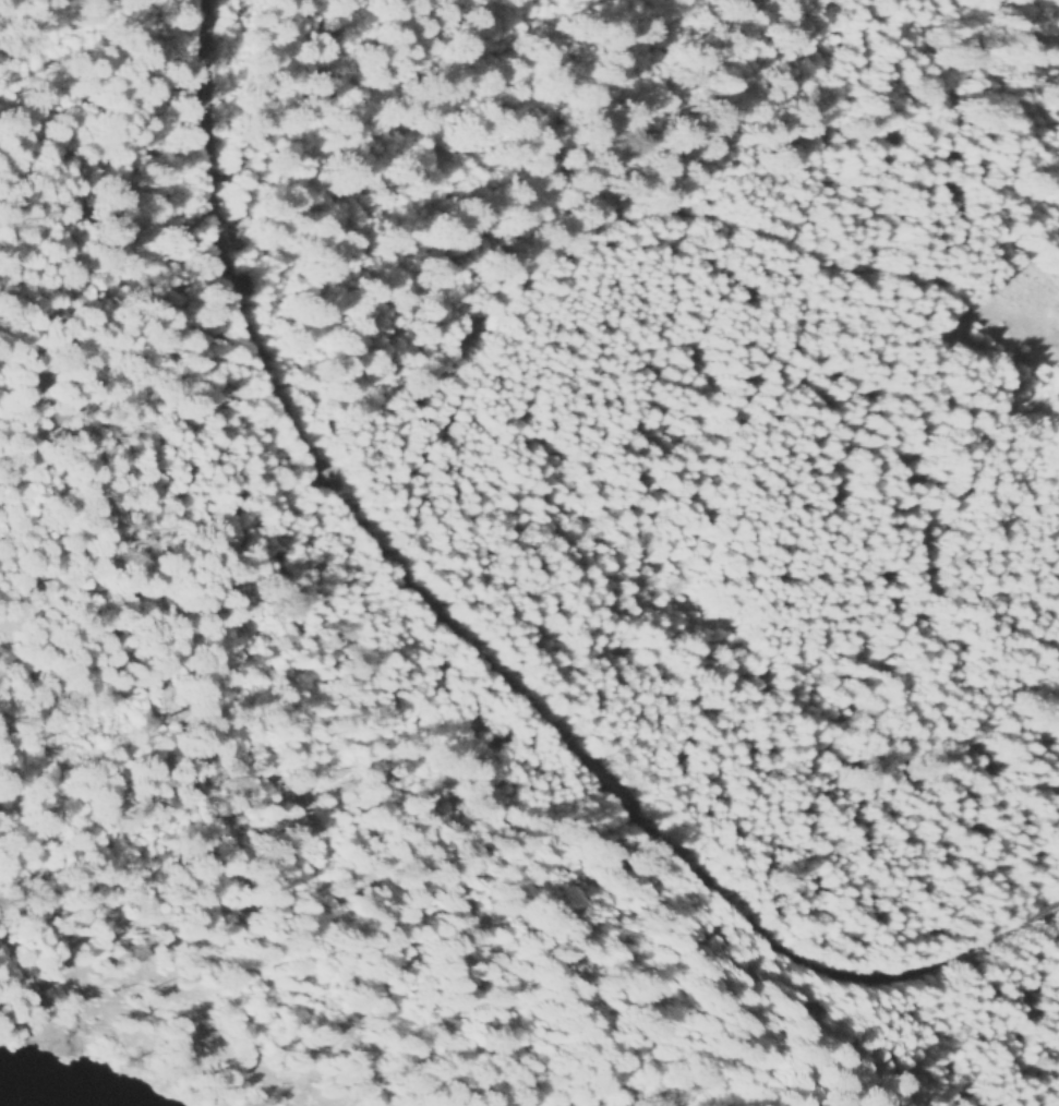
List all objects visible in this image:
road: (467, 657)
road: (242, 981)

